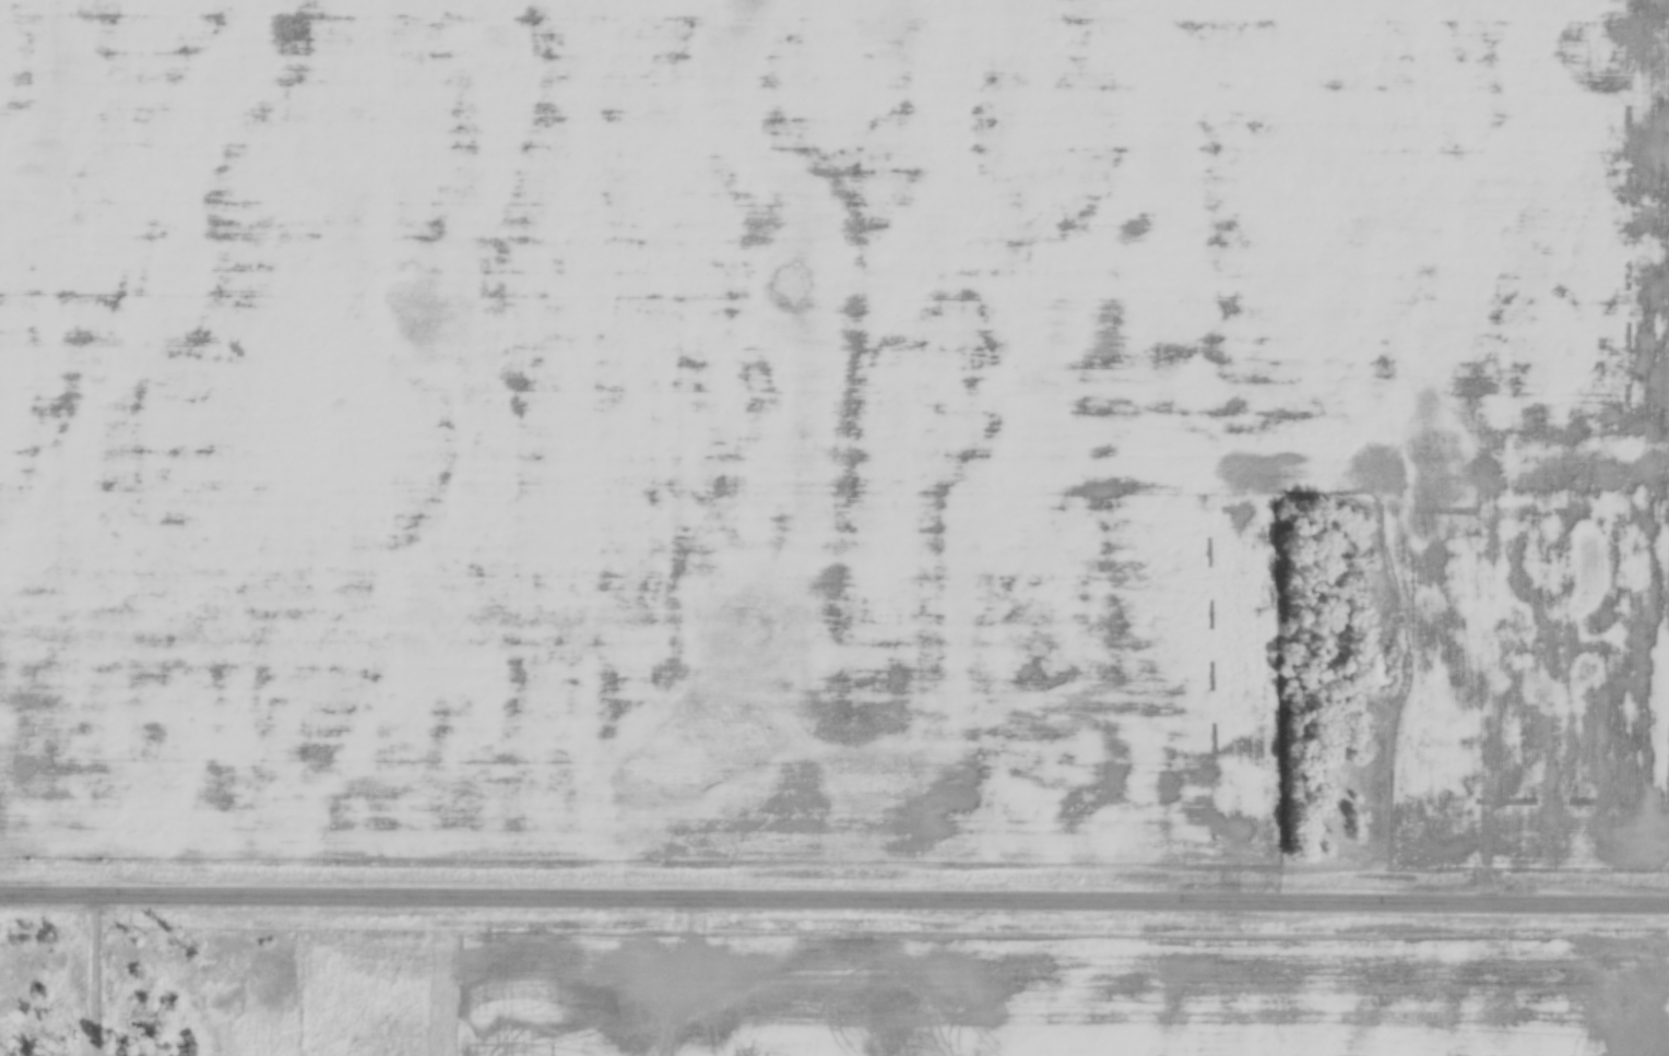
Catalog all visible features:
road: (834, 899)
road: (93, 976)
building: (146, 1007)
building: (185, 1053)

